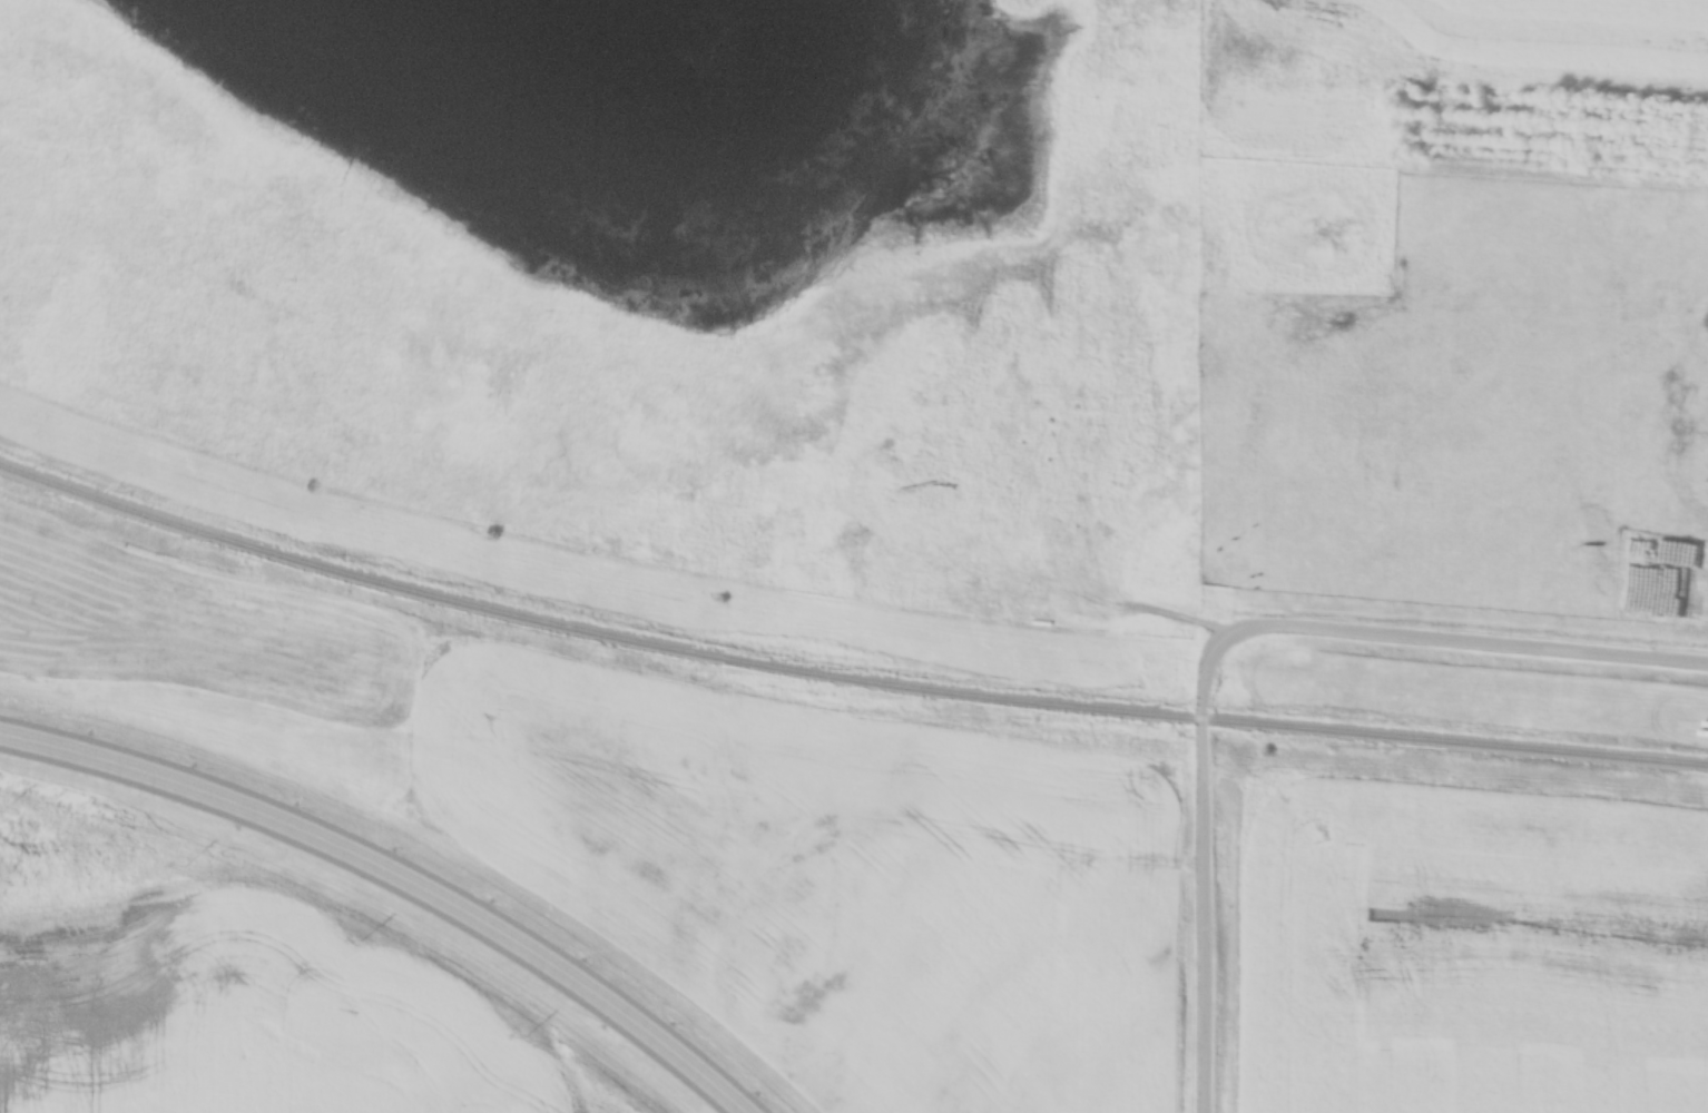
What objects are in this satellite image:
road: (1420, 637)
railway: (842, 679)
road: (391, 880)
road: (1204, 916)

